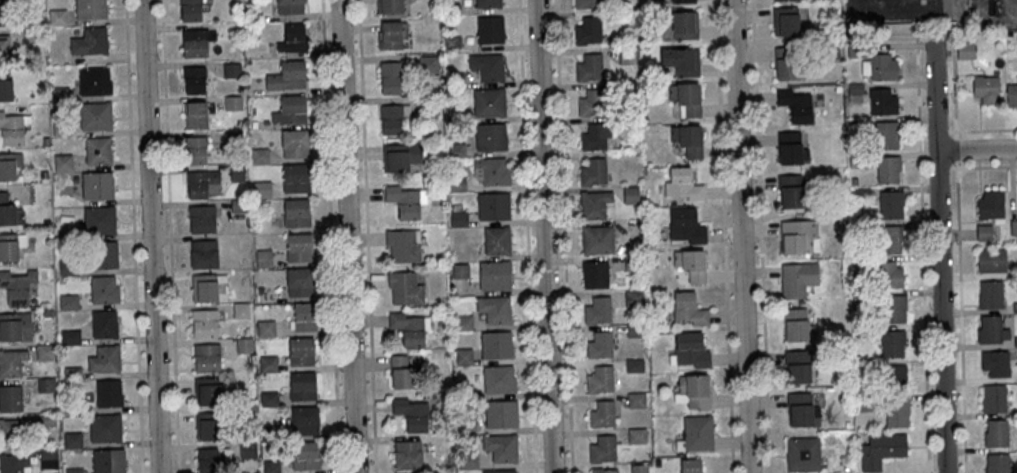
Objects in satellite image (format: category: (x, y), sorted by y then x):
building: (681, 0)
road: (889, 1)
building: (487, 2)
building: (586, 3)
building: (289, 6)
building: (389, 6)
building: (451, 7)
building: (88, 9)
building: (190, 9)
road: (996, 12)
building: (2, 13)
building: (56, 17)
building: (785, 21)
building: (685, 25)
building: (489, 29)
building: (588, 30)
building: (73, 31)
building: (391, 33)
building: (29, 35)
building: (292, 37)
building: (88, 42)
building: (196, 42)
building: (451, 42)
road: (924, 45)
building: (3, 47)
building: (856, 49)
building: (963, 50)
building: (835, 51)
road: (943, 52)
building: (626, 56)
building: (682, 60)
building: (427, 63)
building: (788, 63)
building: (487, 66)
building: (882, 66)
building: (588, 67)
building: (230, 70)
building: (286, 75)
building: (390, 77)
building: (193, 79)
building: (455, 79)
building: (93, 80)
building: (4, 87)
building: (625, 88)
building: (837, 88)
building: (984, 89)
building: (854, 91)
building: (59, 94)
road: (953, 95)
building: (1010, 95)
building: (686, 98)
building: (488, 101)
building: (591, 101)
building: (882, 101)
building: (232, 102)
building: (795, 104)
building: (429, 106)
building: (290, 110)
building: (195, 114)
building: (455, 114)
building: (95, 115)
building: (392, 118)
building: (635, 120)
building: (643, 120)
building: (849, 122)
building: (254, 124)
building: (61, 127)
building: (12, 128)
road: (982, 129)
road: (941, 131)
building: (886, 134)
building: (490, 136)
building: (595, 136)
building: (688, 139)
building: (44, 140)
building: (232, 140)
building: (294, 143)
building: (790, 148)
building: (195, 149)
road: (955, 149)
building: (97, 150)
building: (455, 150)
road: (976, 150)
building: (399, 155)
building: (259, 156)
building: (856, 159)
building: (62, 162)
building: (9, 164)
road: (982, 167)
building: (887, 168)
building: (491, 170)
road: (937, 170)
building: (593, 171)
building: (235, 173)
road: (923, 173)
building: (43, 174)
building: (295, 178)
building: (200, 182)
building: (457, 183)
building: (683, 184)
building: (96, 185)
building: (261, 189)
building: (792, 191)
building: (861, 193)
building: (630, 194)
building: (405, 200)
building: (594, 203)
building: (890, 203)
building: (237, 205)
building: (493, 205)
building: (990, 205)
building: (8, 212)
building: (296, 212)
building: (458, 218)
building: (98, 219)
building: (201, 219)
building: (839, 219)
building: (685, 225)
building: (1013, 227)
building: (983, 232)
road: (132, 236)
road: (150, 236)
road: (168, 236)
road: (329, 236)
road: (348, 236)
road: (366, 236)
road: (526, 236)
road: (545, 236)
road: (563, 236)
road: (724, 236)
road: (741, 236)
road: (760, 236)
building: (798, 236)
building: (889, 238)
building: (597, 239)
building: (497, 240)
building: (10, 245)
building: (403, 245)
building: (299, 247)
building: (202, 253)
building: (104, 254)
road: (940, 254)
building: (263, 258)
building: (652, 258)
road: (922, 258)
building: (991, 259)
building: (632, 262)
building: (691, 264)
building: (65, 266)
building: (459, 270)
building: (1014, 270)
building: (887, 273)
building: (494, 274)
building: (595, 274)
building: (797, 278)
building: (854, 278)
building: (299, 281)
building: (17, 285)
building: (203, 287)
building: (405, 287)
building: (103, 288)
building: (259, 290)
building: (990, 294)
building: (633, 298)
building: (862, 300)
building: (68, 301)
building: (1014, 306)
building: (893, 307)
building: (688, 308)
building: (493, 309)
building: (240, 310)
building: (597, 310)
building: (45, 311)
building: (304, 316)
road: (960, 316)
building: (204, 322)
building: (463, 322)
building: (103, 323)
building: (797, 324)
building: (15, 326)
building: (409, 327)
building: (266, 328)
building: (990, 329)
building: (246, 330)
building: (863, 330)
building: (634, 331)
building: (69, 336)
building: (1015, 341)
building: (892, 343)
building: (496, 344)
building: (243, 345)
building: (599, 345)
building: (691, 349)
building: (44, 351)
building: (300, 351)
building: (463, 356)
building: (206, 357)
building: (855, 357)
building: (104, 358)
building: (11, 362)
building: (994, 362)
building: (267, 363)
building: (634, 365)
building: (797, 365)
building: (71, 372)
building: (401, 372)
building: (498, 378)
building: (895, 378)
building: (600, 379)
building: (45, 384)
building: (302, 386)
building: (206, 391)
building: (464, 391)
building: (693, 391)
building: (108, 392)
building: (993, 397)
building: (10, 398)
building: (269, 399)
building: (635, 399)
building: (862, 402)
building: (71, 407)
building: (801, 409)
building: (896, 411)
building: (410, 413)
building: (500, 413)
building: (602, 413)
building: (45, 419)
building: (304, 420)
building: (846, 424)
building: (206, 425)
building: (104, 427)
building: (465, 427)
building: (11, 430)
building: (270, 432)
building: (696, 433)
building: (995, 433)
building: (636, 435)
building: (72, 440)
building: (500, 447)
building: (246, 449)
building: (602, 449)
building: (881, 449)
building: (802, 453)
building: (407, 454)
building: (304, 455)
building: (47, 456)
building: (467, 459)
building: (209, 460)
building: (108, 461)
building: (449, 461)
building: (14, 463)
building: (996, 463)
building: (270, 466)
building: (690, 466)
building: (638, 468)
building: (73, 470)
building: (602, 470)
building: (499, 471)

